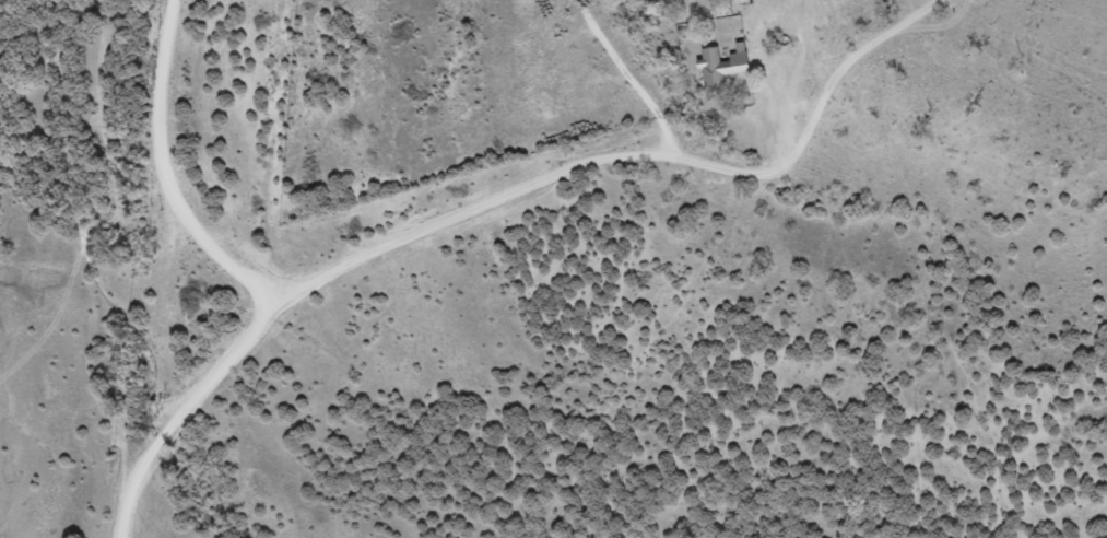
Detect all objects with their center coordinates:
building: (716, 71)
road: (577, 201)
road: (222, 269)
road: (285, 295)

